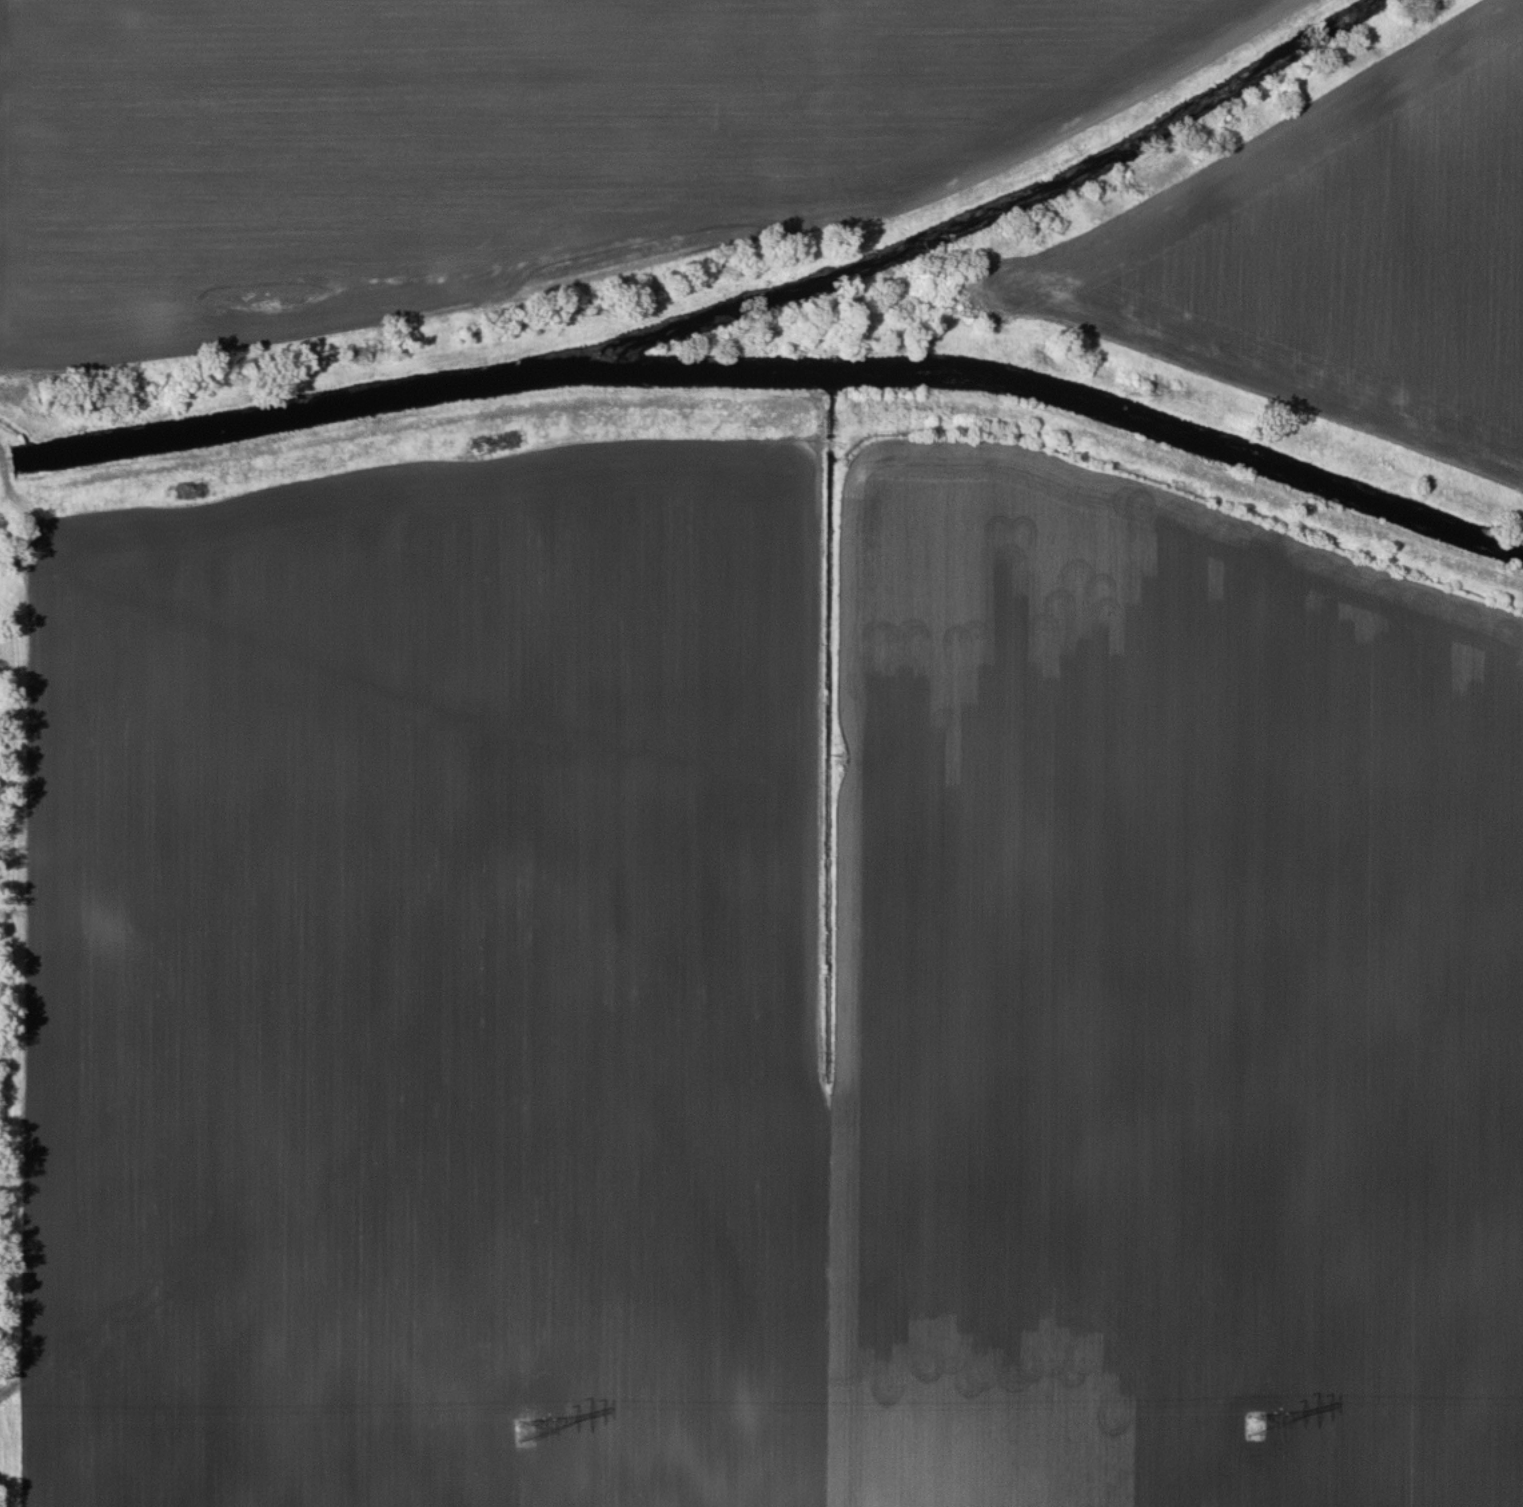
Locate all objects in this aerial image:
power tower: (1249, 1410)
power tower: (518, 1416)

